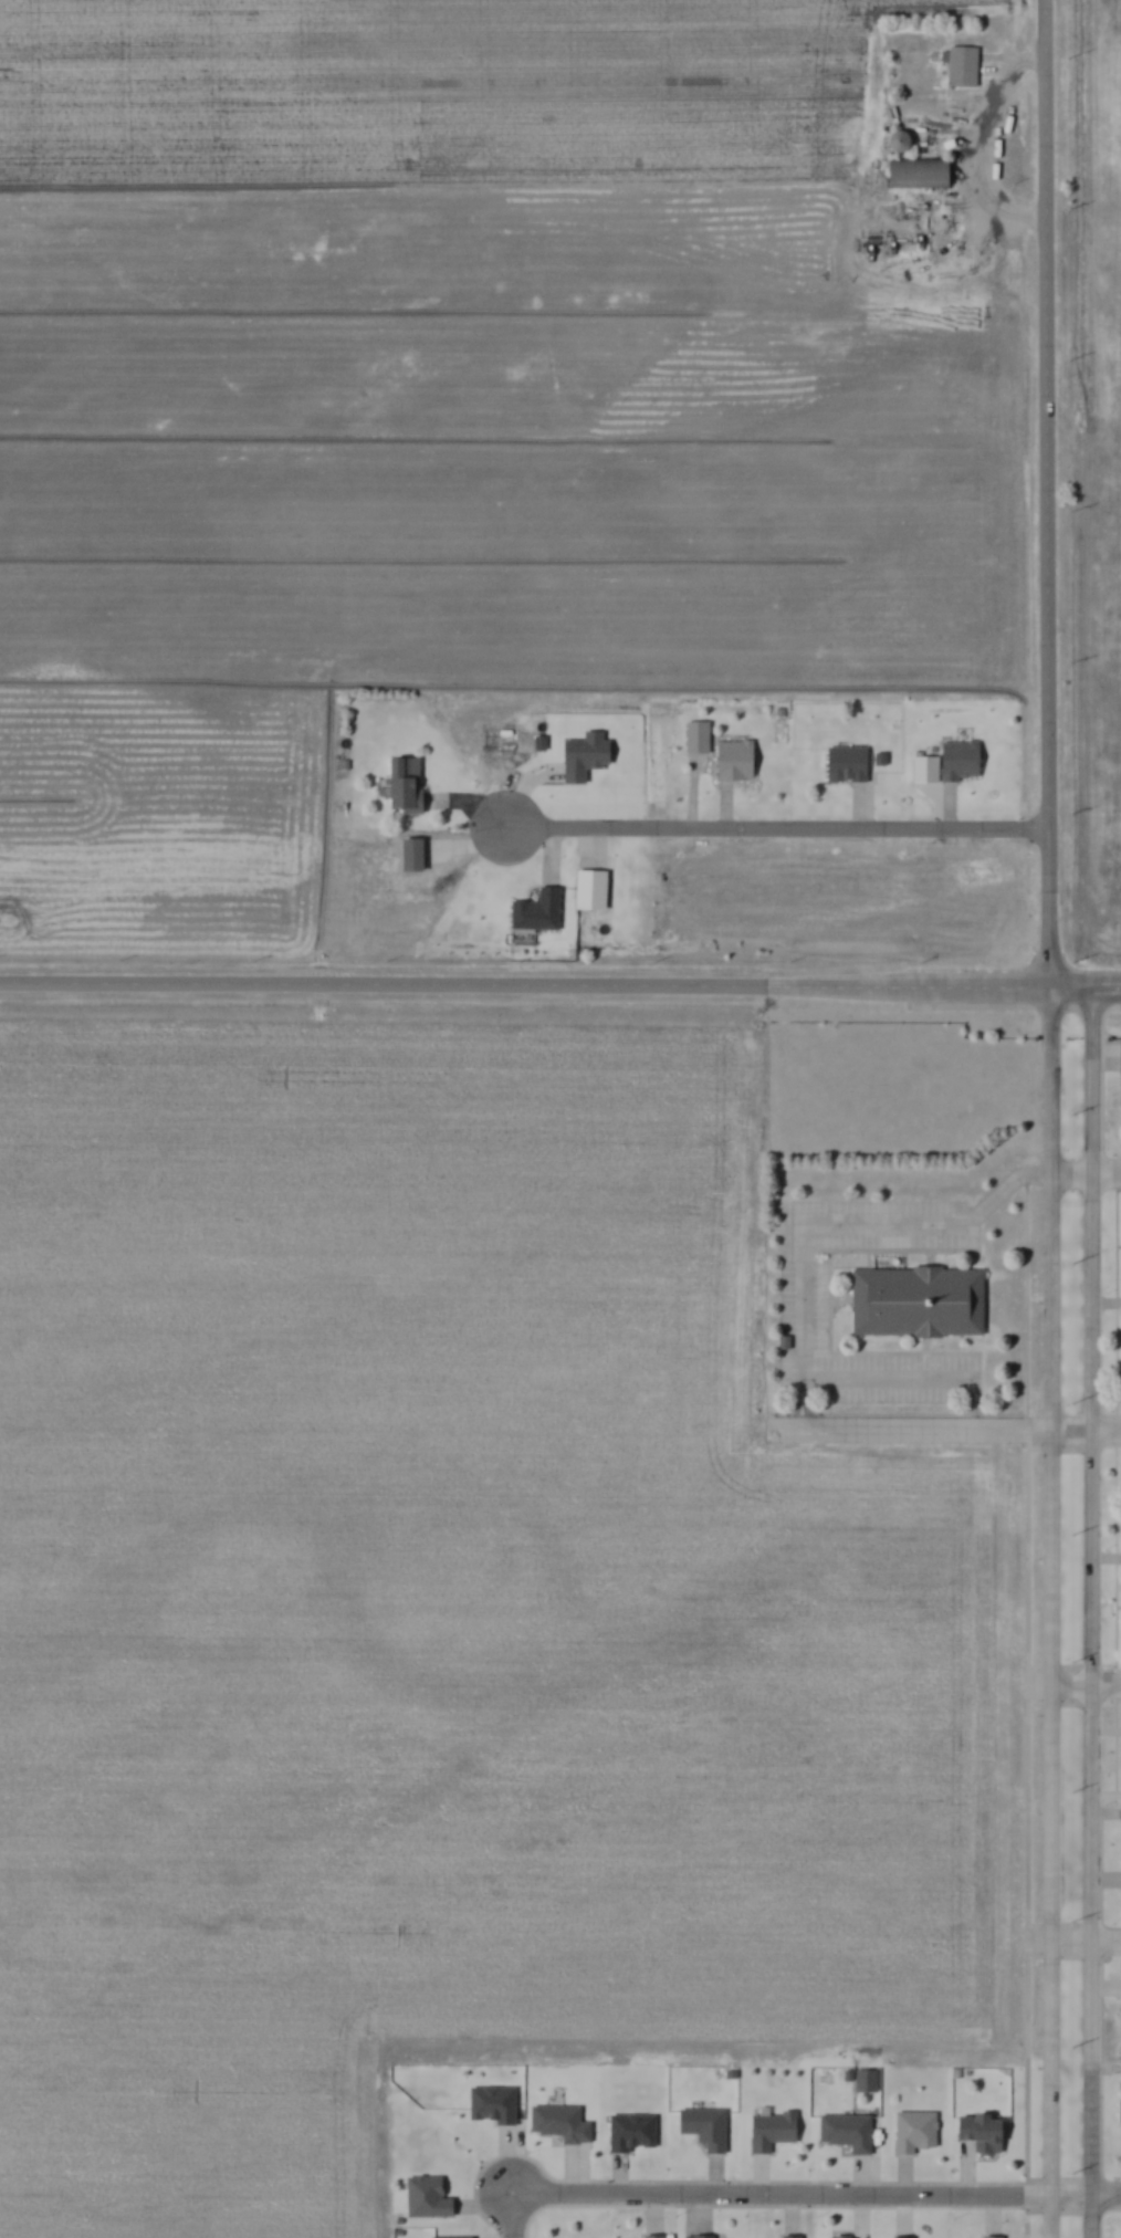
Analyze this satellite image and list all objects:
building: (964, 66)
building: (921, 175)
crop: (1111, 197)
crop: (442, 406)
road: (1046, 481)
crop: (1103, 680)
building: (692, 736)
building: (730, 760)
building: (956, 761)
building: (844, 763)
building: (397, 784)
road: (692, 792)
road: (469, 801)
road: (724, 807)
road: (947, 808)
road: (862, 809)
road: (776, 828)
road: (549, 853)
building: (530, 910)
road: (525, 990)
road: (1085, 993)
road: (1100, 1056)
building: (1118, 1058)
road: (1085, 1178)
road: (838, 1232)
building: (912, 1300)
road: (1106, 1304)
road: (947, 1431)
road: (1114, 1495)
road: (1107, 1561)
road: (1091, 1593)
road: (1049, 1600)
road: (1085, 1691)
road: (1024, 1707)
road: (1107, 1730)
road: (1107, 1793)
road: (1107, 1813)
road: (1106, 1879)
road: (1085, 1941)
road: (1106, 1987)
road: (1106, 2072)
building: (863, 2079)
building: (488, 2103)
building: (556, 2121)
building: (705, 2126)
building: (626, 2131)
building: (909, 2131)
building: (765, 2132)
building: (849, 2133)
building: (974, 2133)
road: (509, 2164)
road: (574, 2173)
road: (620, 2178)
road: (712, 2178)
road: (757, 2178)
road: (965, 2182)
road: (901, 2194)
road: (816, 2196)
building: (422, 2197)
road: (858, 2199)
road: (486, 2205)
road: (652, 2207)
road: (696, 2209)
road: (789, 2209)
road: (991, 2211)
road: (512, 2215)
building: (648, 2235)
building: (898, 2235)
building: (693, 2236)
building: (785, 2236)
building: (1120, 2236)
building: (450, 2237)
building: (834, 2237)
building: (994, 2237)

